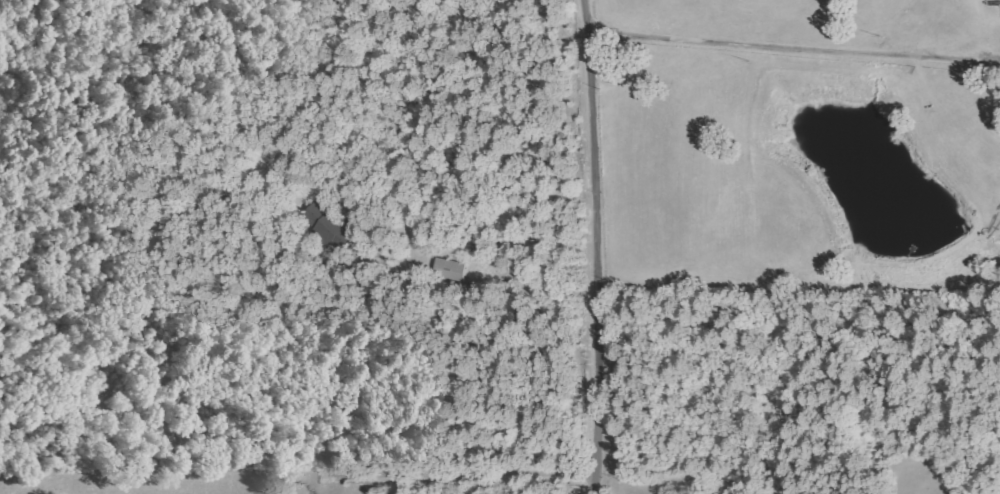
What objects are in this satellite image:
building: (324, 223)
road: (594, 246)
building: (446, 270)

